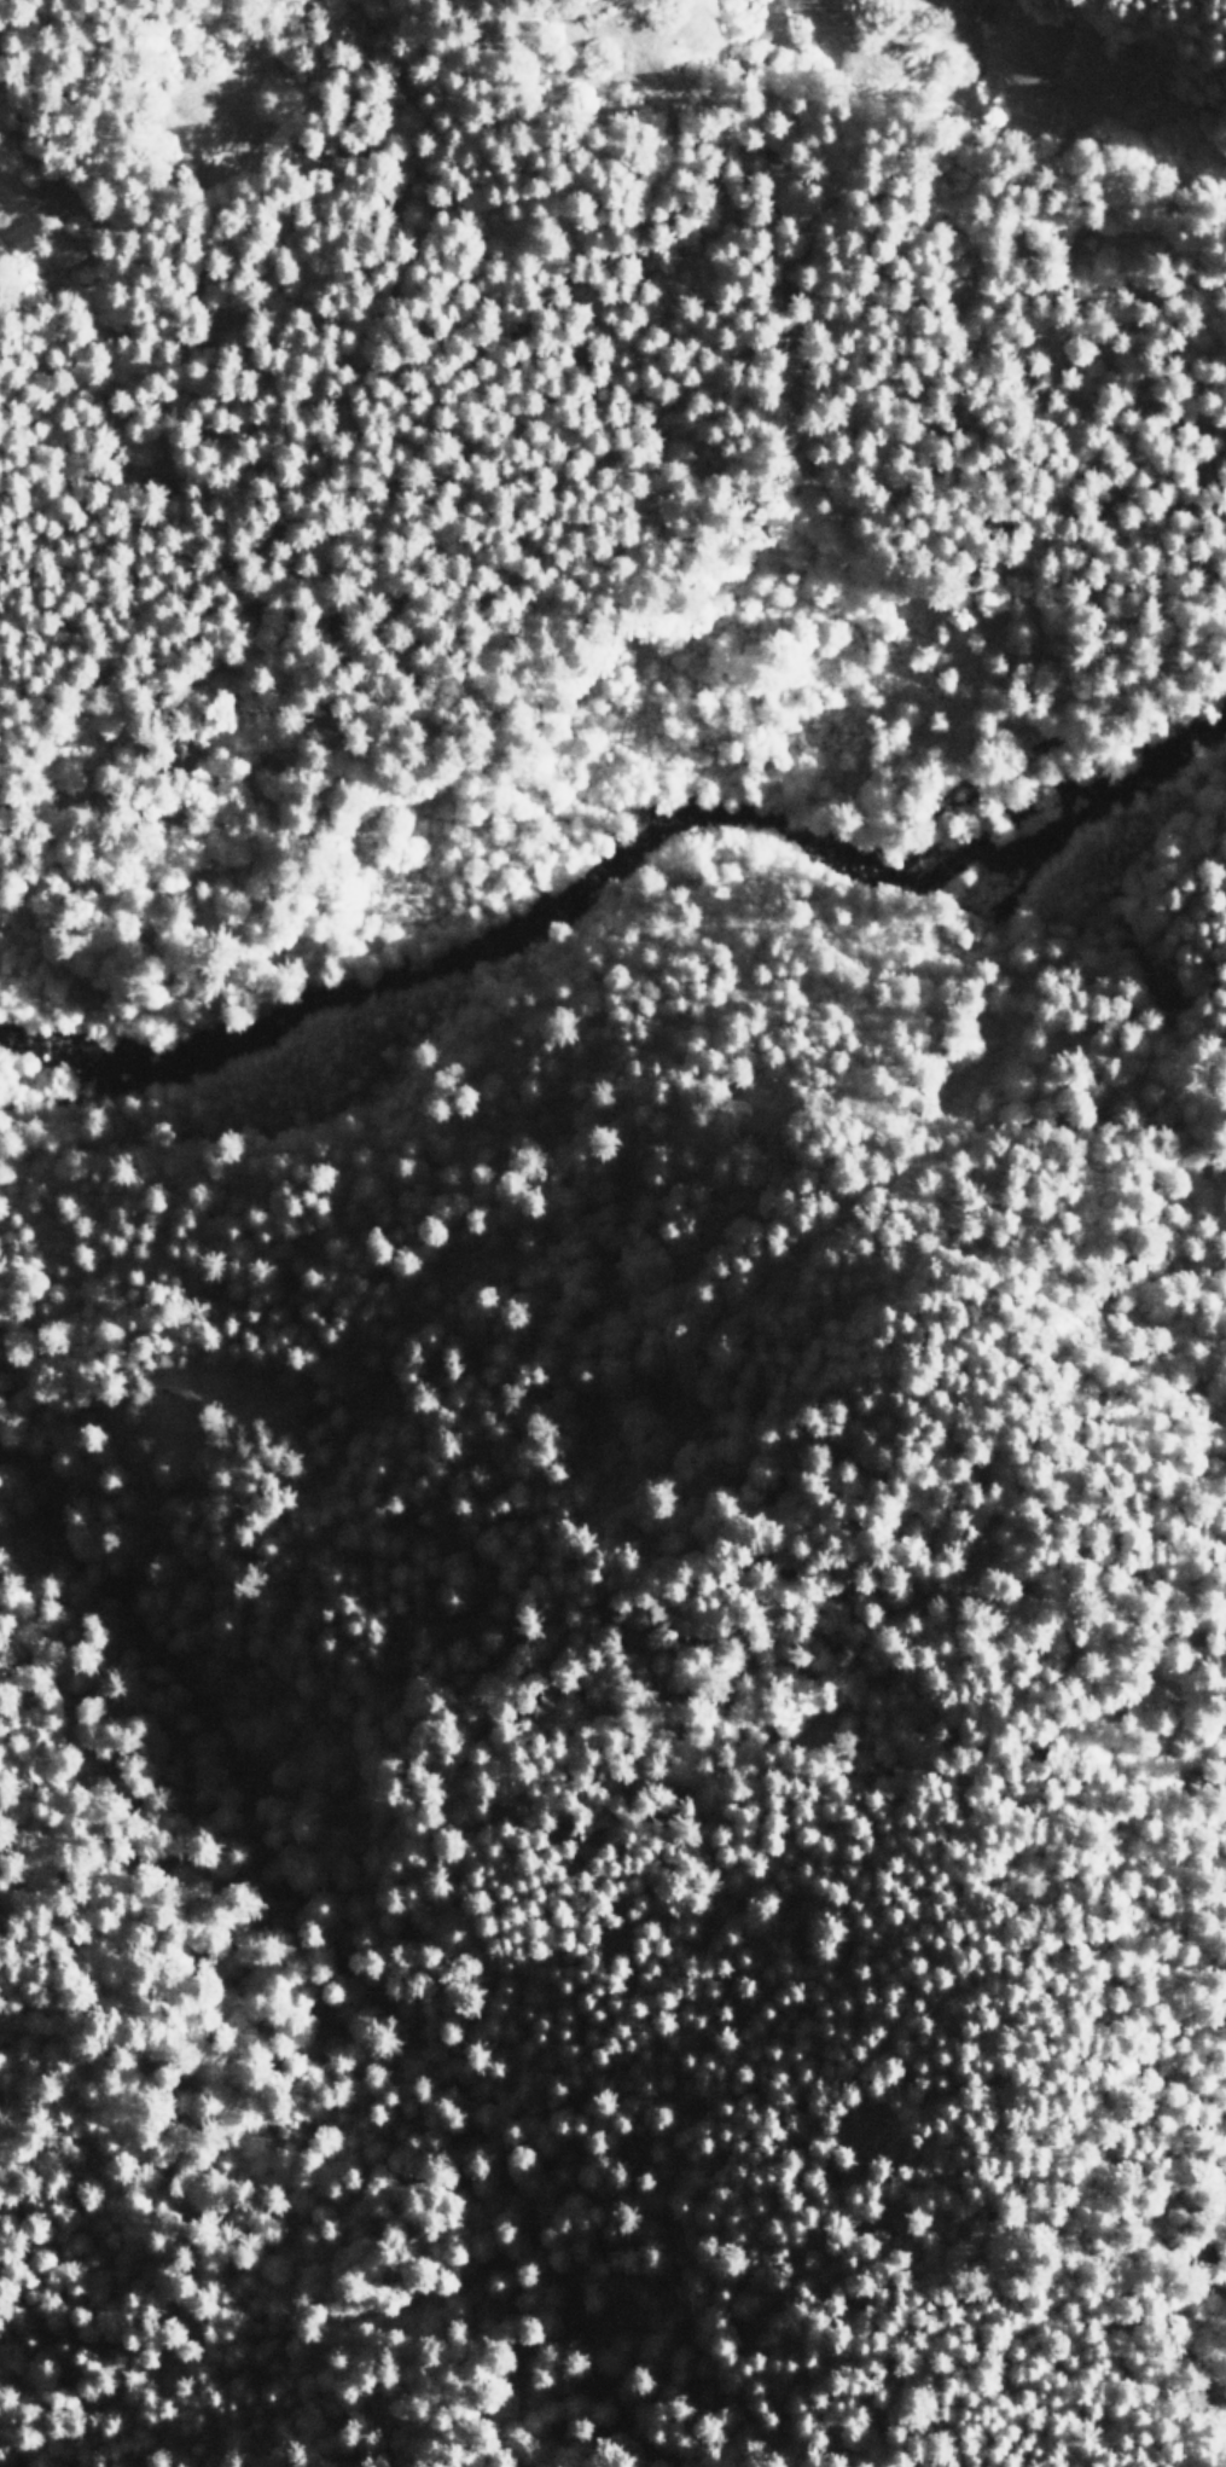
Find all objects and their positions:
river: (626, 837)

